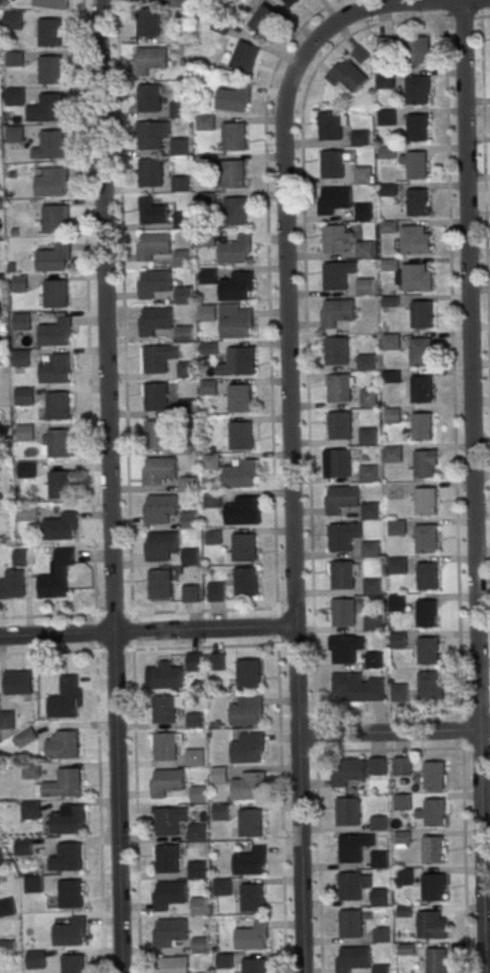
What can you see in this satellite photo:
building: (290, 2)
building: (50, 3)
building: (177, 3)
road: (383, 3)
building: (263, 19)
building: (147, 22)
building: (49, 32)
building: (416, 49)
building: (244, 55)
building: (13, 59)
building: (148, 59)
building: (50, 69)
building: (346, 74)
building: (383, 79)
building: (415, 89)
building: (14, 96)
building: (149, 98)
building: (233, 98)
building: (46, 107)
building: (177, 109)
building: (386, 117)
building: (205, 122)
building: (330, 125)
building: (416, 127)
building: (13, 133)
building: (151, 134)
building: (233, 136)
building: (359, 137)
building: (48, 145)
building: (178, 146)
building: (204, 162)
building: (332, 164)
building: (415, 164)
building: (149, 172)
building: (232, 173)
building: (362, 174)
building: (51, 181)
building: (179, 183)
building: (332, 199)
building: (206, 201)
building: (416, 202)
building: (151, 210)
building: (235, 211)
building: (363, 211)
building: (53, 218)
building: (182, 220)
building: (387, 227)
building: (206, 237)
road: (303, 238)
building: (334, 238)
building: (415, 239)
road: (484, 240)
building: (153, 245)
building: (235, 249)
building: (363, 249)
building: (53, 257)
building: (182, 258)
building: (337, 274)
building: (207, 275)
building: (416, 277)
building: (154, 283)
building: (364, 285)
building: (236, 286)
building: (55, 293)
building: (183, 295)
road: (124, 305)
building: (336, 311)
building: (206, 313)
building: (421, 314)
building: (155, 320)
building: (236, 320)
building: (21, 321)
road: (87, 324)
building: (55, 332)
building: (184, 333)
building: (395, 341)
building: (209, 348)
building: (336, 350)
building: (420, 351)
building: (21, 358)
building: (154, 359)
building: (235, 362)
building: (365, 362)
road: (451, 364)
building: (55, 369)
building: (186, 370)
road: (270, 380)
building: (209, 387)
building: (338, 387)
building: (421, 389)
building: (24, 395)
building: (156, 396)
building: (367, 396)
building: (239, 397)
building: (57, 405)
building: (185, 407)
building: (393, 416)
building: (339, 425)
building: (422, 426)
building: (25, 432)
building: (155, 433)
building: (240, 434)
building: (58, 442)
building: (393, 453)
building: (211, 461)
building: (336, 462)
building: (424, 464)
building: (26, 469)
building: (158, 469)
building: (240, 474)
building: (187, 483)
building: (59, 484)
road: (110, 486)
road: (471, 486)
road: (289, 492)
building: (212, 499)
building: (340, 499)
building: (426, 501)
building: (160, 508)
building: (241, 510)
building: (369, 510)
building: (26, 513)
building: (188, 519)
building: (61, 526)
building: (397, 527)
building: (213, 535)
building: (340, 537)
building: (426, 538)
building: (161, 545)
building: (243, 547)
building: (369, 549)
building: (189, 556)
building: (19, 557)
building: (397, 565)
building: (55, 574)
building: (342, 574)
building: (426, 576)
building: (245, 581)
building: (159, 583)
building: (12, 584)
building: (372, 585)
building: (215, 591)
building: (189, 593)
building: (397, 602)
road: (204, 609)
building: (343, 612)
building: (427, 613)
road: (66, 614)
building: (373, 623)
road: (146, 630)
building: (398, 640)
building: (343, 649)
road: (84, 650)
building: (427, 650)
building: (372, 660)
building: (217, 661)
building: (193, 662)
building: (247, 672)
building: (163, 676)
building: (18, 682)
building: (428, 684)
building: (357, 687)
building: (399, 692)
building: (66, 699)
building: (163, 709)
building: (245, 711)
road: (387, 713)
building: (6, 719)
building: (194, 720)
road: (460, 729)
road: (392, 731)
building: (23, 737)
building: (68, 744)
building: (164, 746)
building: (247, 747)
road: (388, 749)
building: (194, 757)
building: (376, 765)
building: (401, 765)
building: (30, 771)
building: (346, 771)
building: (219, 774)
building: (433, 774)
building: (165, 782)
building: (70, 783)
building: (247, 786)
road: (316, 788)
building: (198, 794)
building: (402, 802)
road: (280, 808)
building: (30, 809)
road: (99, 811)
road: (135, 811)
building: (347, 811)
building: (434, 811)
building: (219, 812)
building: (68, 819)
building: (166, 821)
building: (250, 822)
building: (378, 823)
building: (196, 832)
building: (403, 838)
building: (22, 847)
building: (350, 848)
building: (432, 849)
building: (70, 857)
building: (167, 858)
building: (379, 859)
building: (1, 860)
building: (250, 860)
road: (463, 860)
building: (197, 869)
building: (404, 876)
building: (32, 883)
building: (349, 885)
building: (221, 887)
building: (432, 887)
building: (168, 894)
building: (71, 895)
building: (379, 896)
building: (251, 897)
building: (199, 906)
building: (7, 907)
building: (403, 912)
building: (350, 923)
building: (431, 925)
building: (70, 931)
building: (170, 931)
building: (381, 934)
building: (251, 936)
building: (199, 945)
building: (7, 947)
building: (406, 948)
building: (351, 958)
building: (35, 959)
building: (436, 960)
building: (224, 961)
building: (73, 964)
building: (174, 965)
building: (254, 965)
building: (382, 968)

